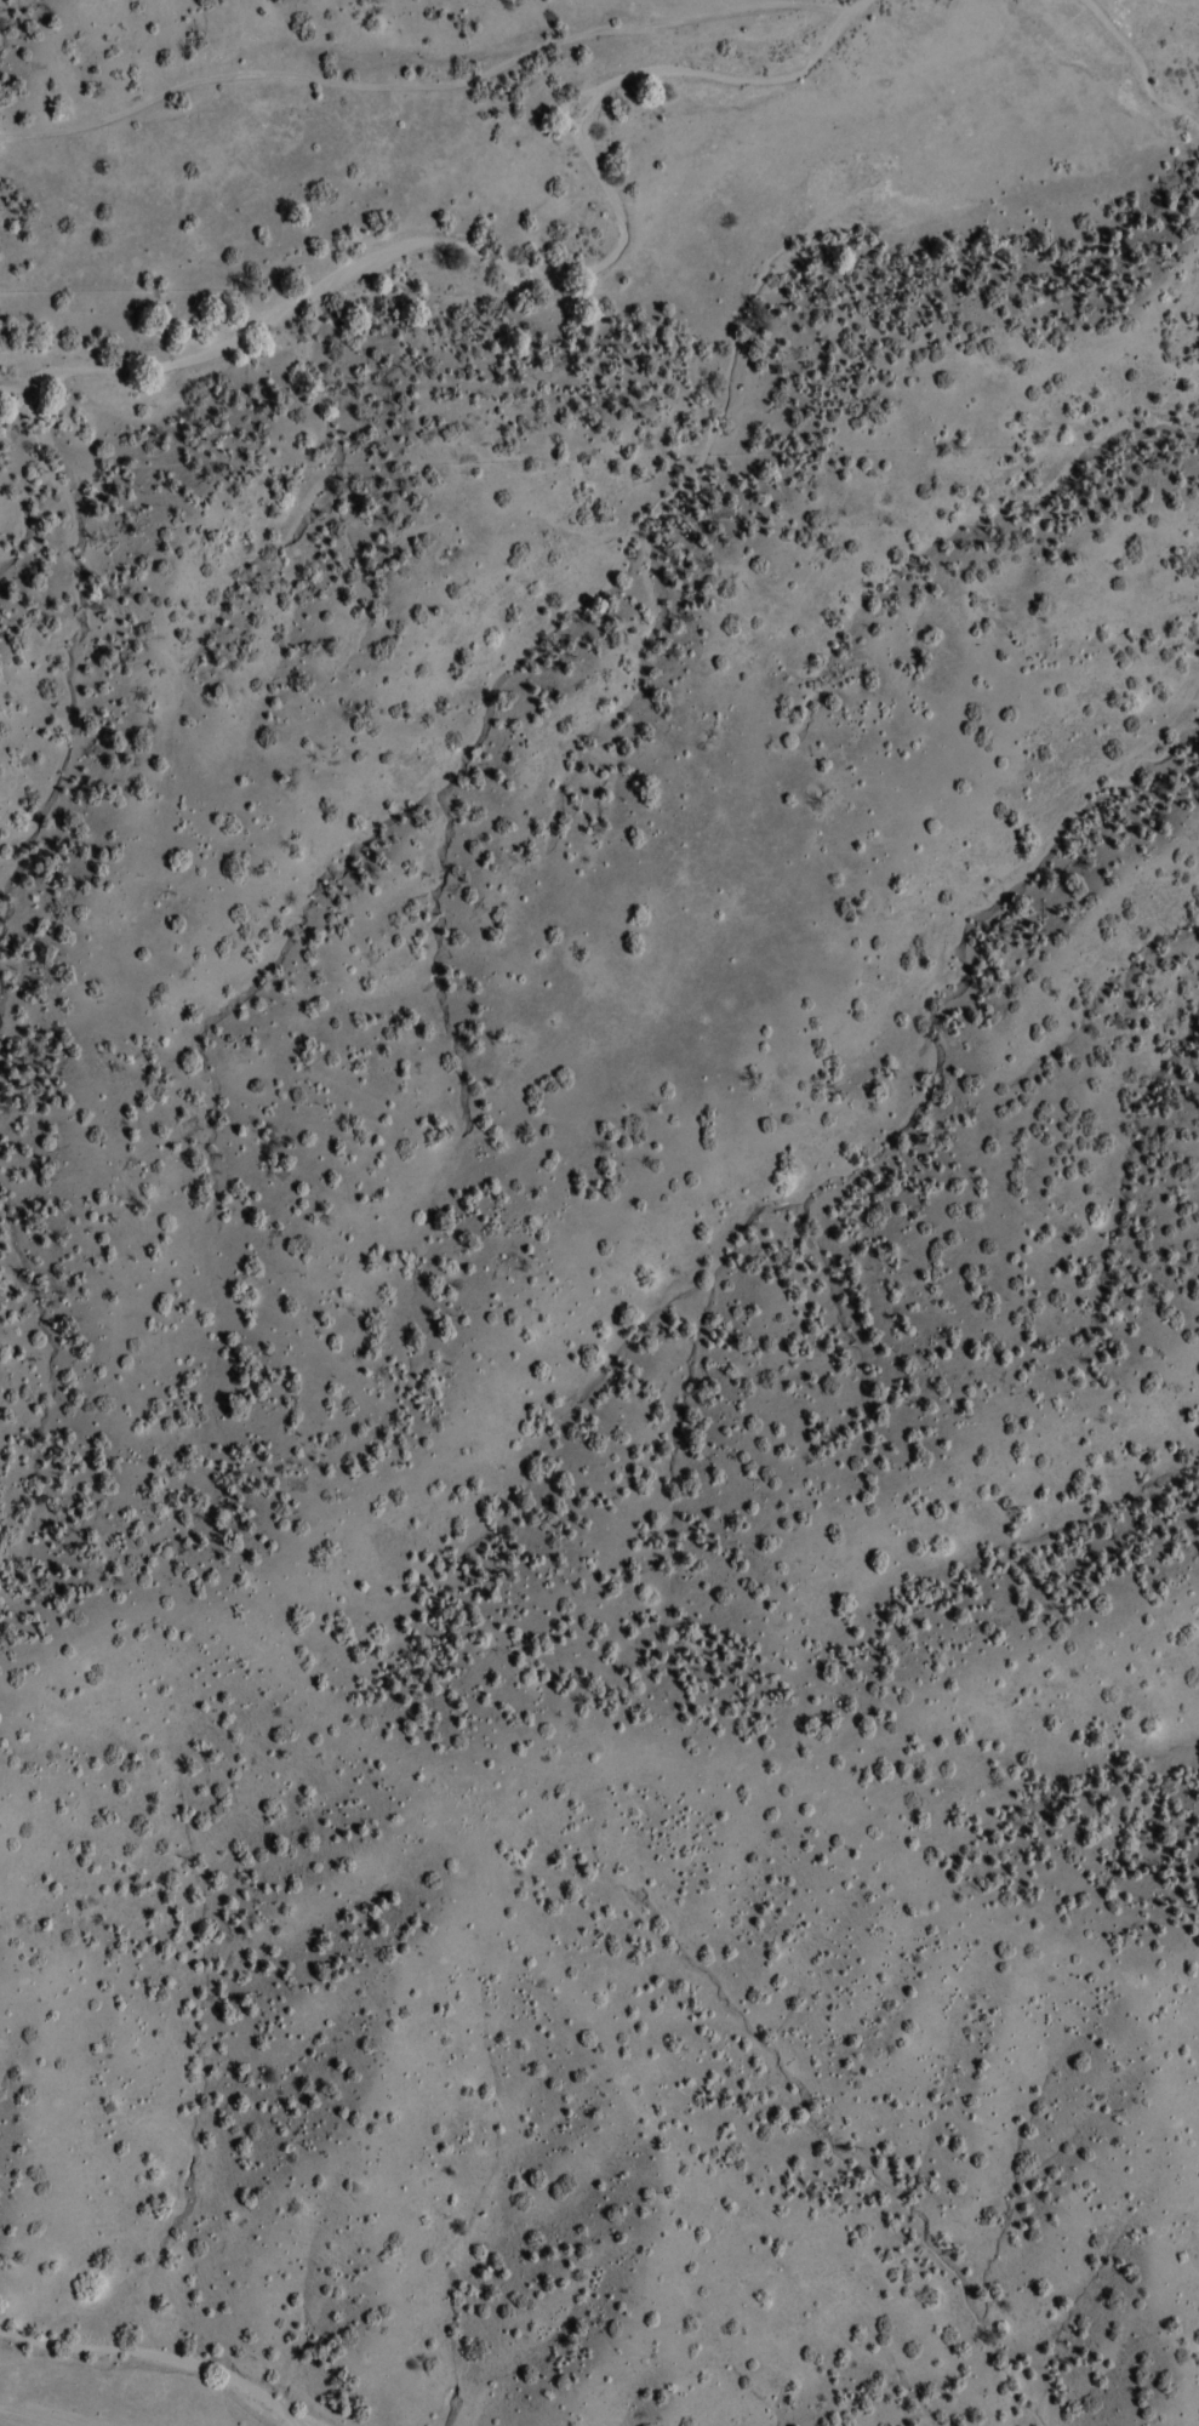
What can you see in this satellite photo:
road: (434, 87)
road: (34, 2415)

